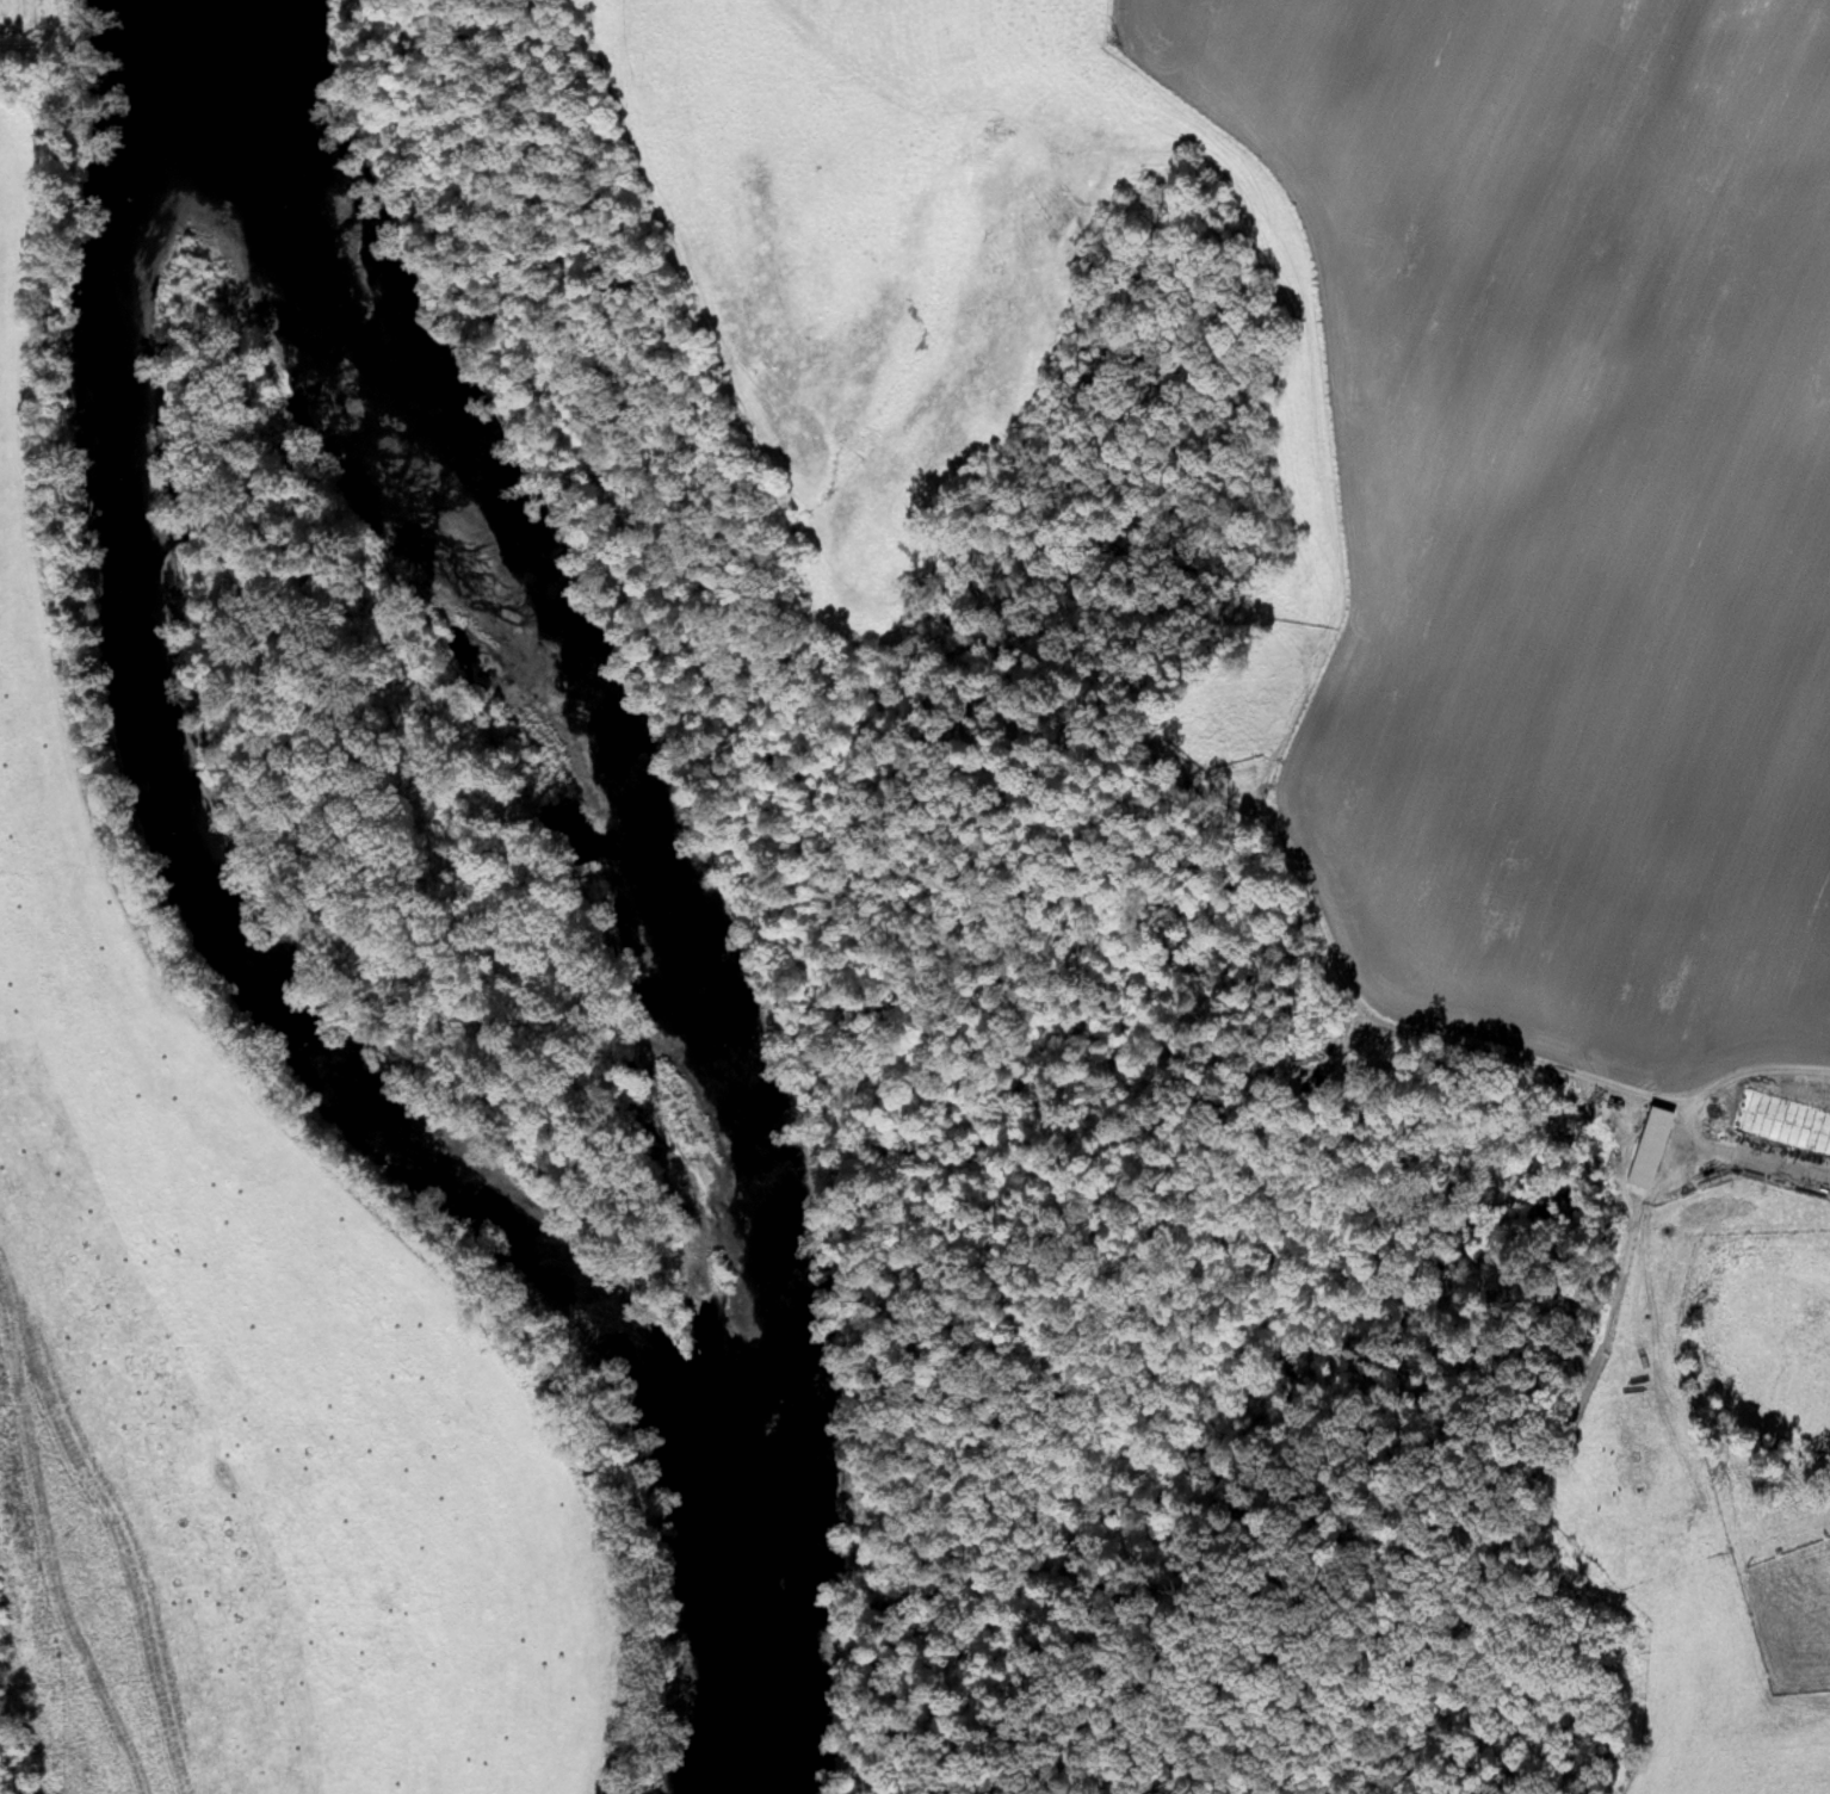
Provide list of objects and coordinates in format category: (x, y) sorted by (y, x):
river: (657, 847)
river: (217, 926)

